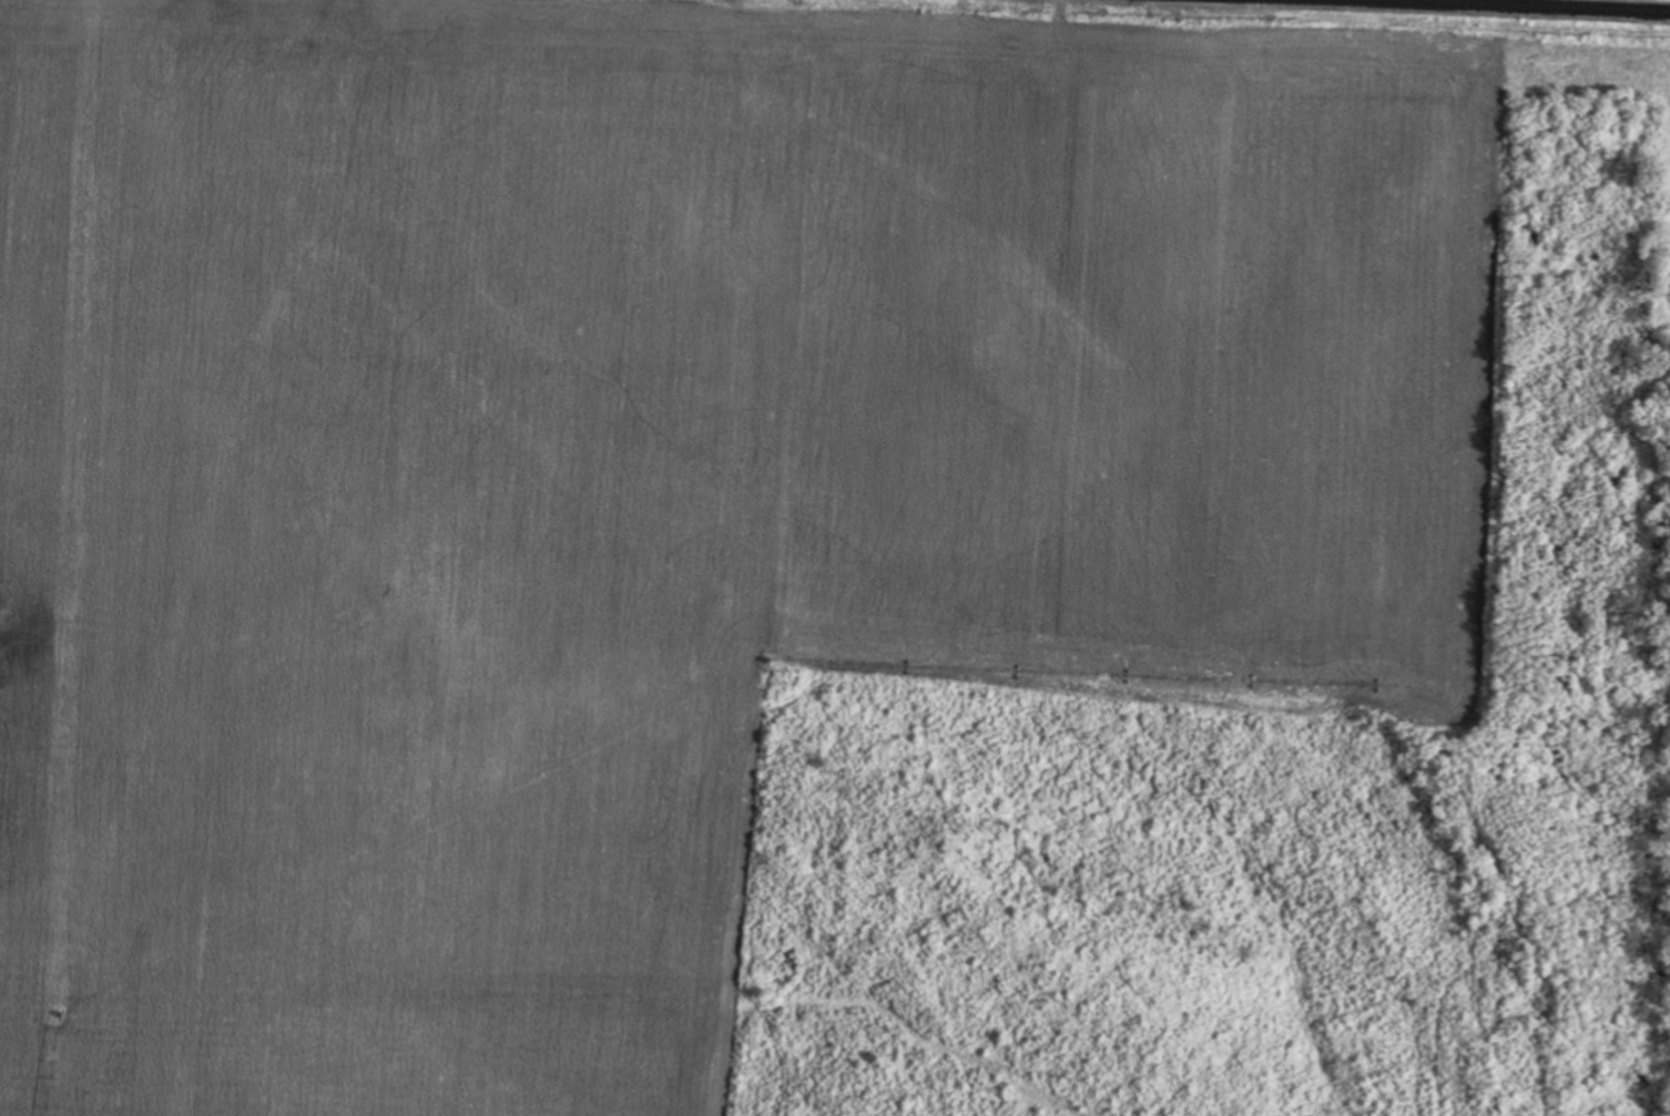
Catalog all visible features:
road: (1511, 4)

